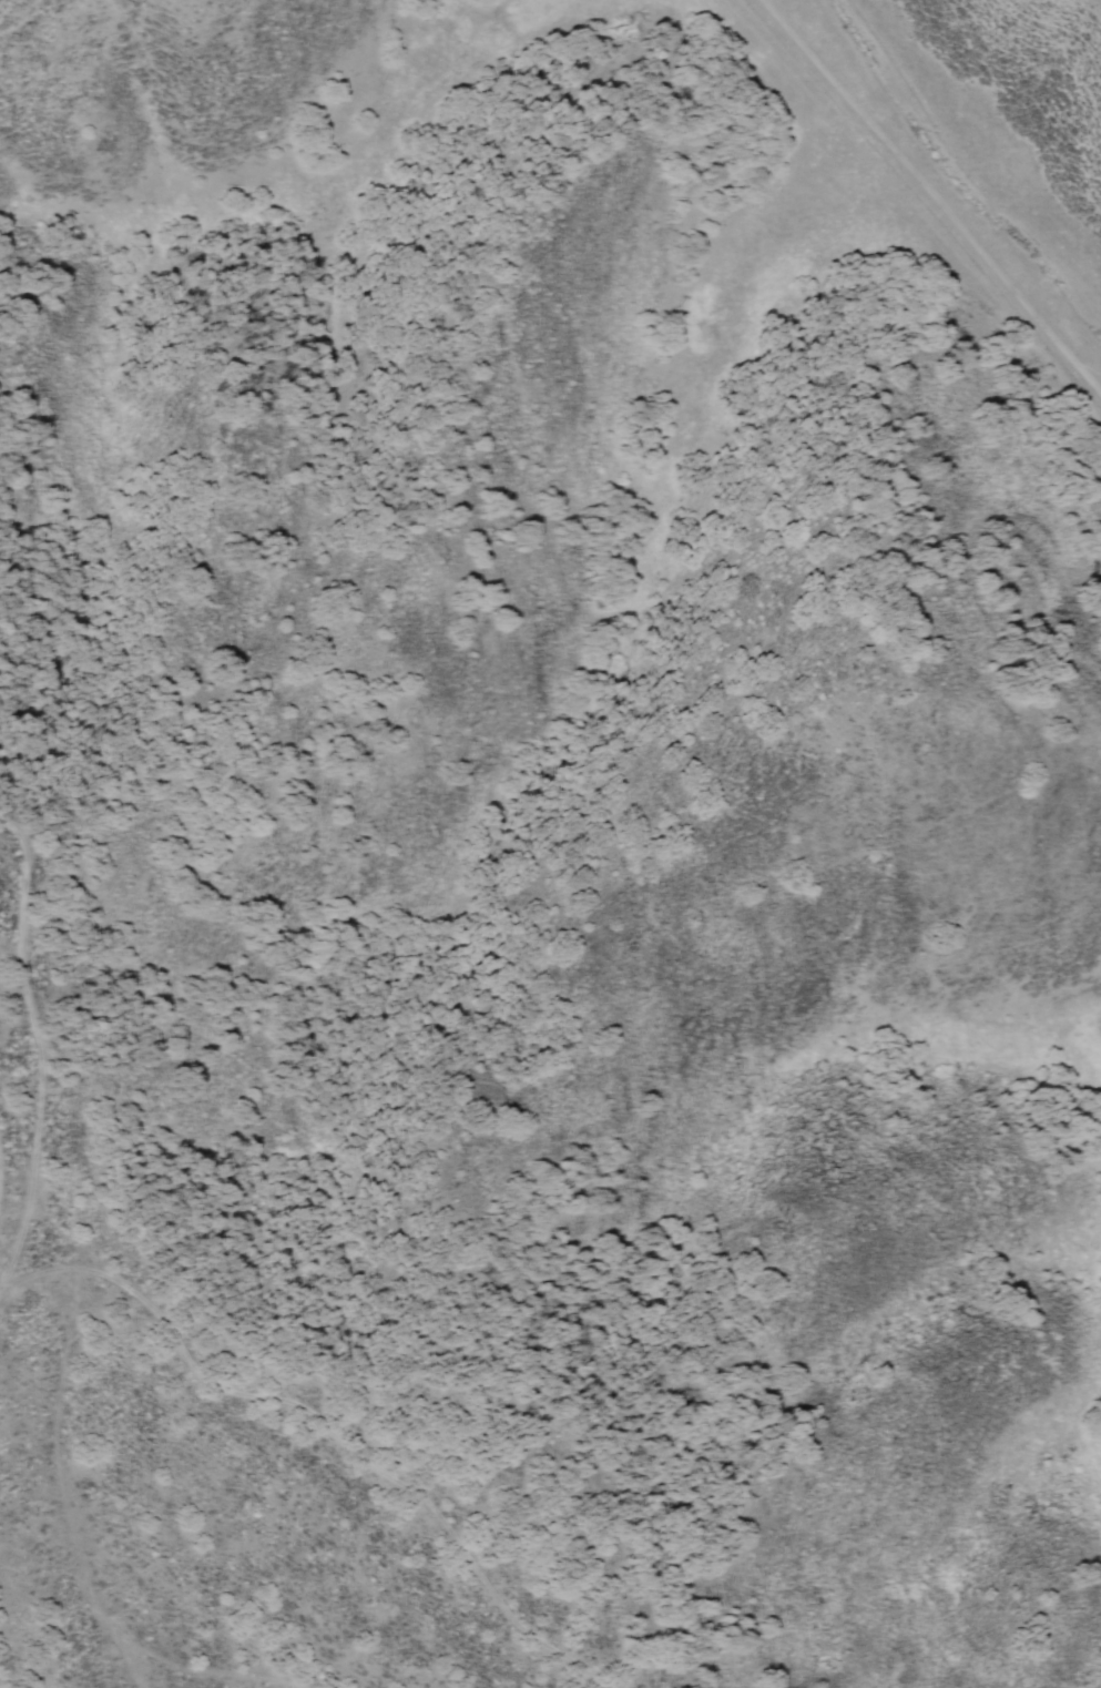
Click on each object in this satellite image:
road: (936, 192)
road: (19, 1242)
road: (167, 1324)

